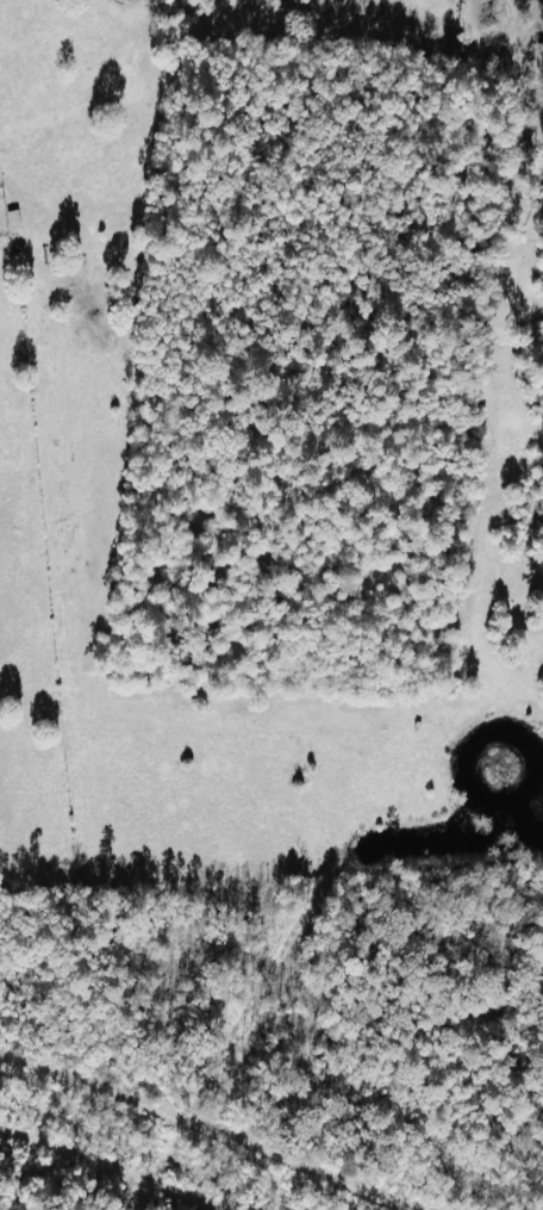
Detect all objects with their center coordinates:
road: (336, 120)
building: (12, 218)

